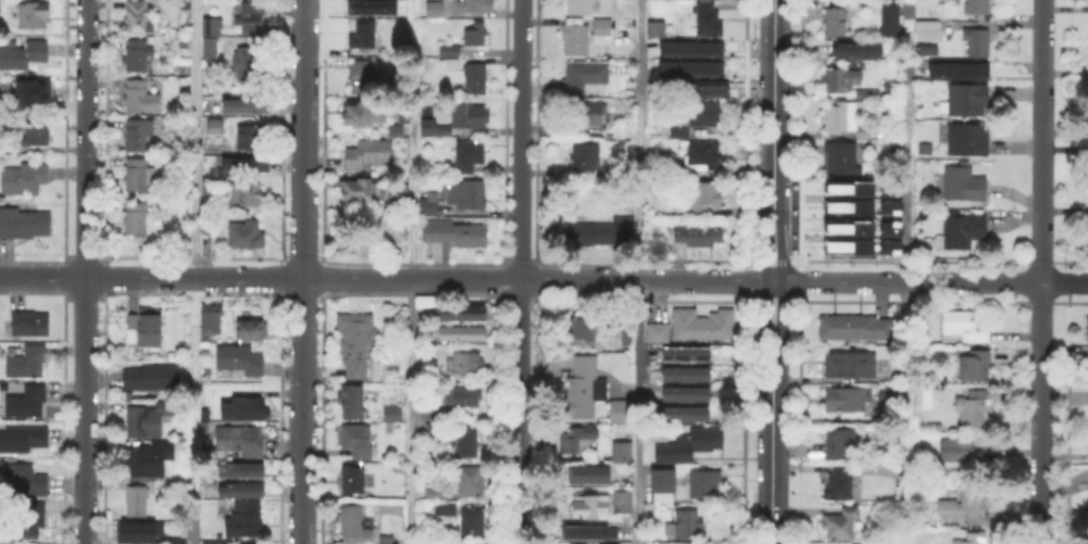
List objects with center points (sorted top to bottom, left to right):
building: (184, 3)
building: (859, 4)
building: (370, 7)
building: (470, 7)
building: (583, 7)
building: (976, 8)
building: (435, 10)
building: (34, 12)
building: (140, 15)
building: (250, 17)
building: (710, 18)
building: (887, 18)
building: (836, 22)
building: (208, 25)
building: (601, 28)
building: (656, 28)
building: (925, 28)
building: (361, 34)
building: (474, 36)
building: (577, 38)
building: (978, 43)
building: (688, 47)
building: (860, 47)
building: (925, 48)
building: (450, 49)
building: (209, 51)
building: (25, 53)
building: (140, 54)
building: (247, 65)
building: (688, 66)
building: (955, 68)
building: (586, 74)
building: (362, 75)
building: (839, 79)
building: (475, 80)
building: (655, 84)
building: (185, 85)
building: (698, 87)
building: (32, 92)
building: (139, 92)
building: (967, 96)
building: (248, 102)
building: (366, 109)
building: (211, 111)
building: (471, 113)
building: (704, 113)
building: (587, 116)
building: (848, 117)
building: (212, 125)
building: (430, 126)
building: (396, 128)
building: (446, 129)
building: (680, 132)
building: (35, 134)
building: (139, 134)
building: (968, 136)
building: (250, 140)
building: (927, 148)
building: (368, 153)
building: (471, 153)
building: (706, 153)
building: (586, 156)
building: (41, 157)
building: (843, 157)
building: (245, 163)
building: (668, 164)
building: (615, 173)
road: (906, 173)
building: (137, 174)
building: (152, 176)
building: (24, 178)
building: (963, 185)
building: (212, 186)
building: (847, 187)
building: (888, 188)
building: (360, 189)
road: (1040, 189)
building: (399, 190)
building: (467, 192)
building: (249, 193)
building: (705, 197)
building: (428, 205)
building: (847, 205)
building: (168, 206)
building: (889, 206)
building: (137, 218)
building: (24, 222)
building: (209, 224)
building: (847, 227)
building: (888, 227)
building: (455, 232)
building: (604, 232)
building: (248, 233)
building: (960, 233)
building: (1087, 236)
building: (692, 239)
building: (847, 245)
building: (888, 245)
road: (85, 271)
road: (195, 271)
road: (300, 271)
road: (413, 271)
road: (521, 271)
road: (638, 271)
road: (771, 271)
road: (543, 278)
building: (463, 312)
building: (208, 318)
building: (699, 322)
building: (27, 324)
building: (590, 326)
building: (1086, 327)
building: (151, 329)
building: (253, 329)
building: (854, 329)
building: (962, 330)
building: (463, 331)
building: (654, 331)
building: (357, 339)
building: (690, 351)
building: (241, 359)
building: (28, 360)
building: (468, 363)
building: (851, 366)
building: (975, 367)
building: (690, 370)
building: (154, 375)
building: (584, 390)
building: (689, 391)
building: (129, 395)
building: (888, 395)
building: (465, 396)
building: (24, 400)
building: (353, 400)
building: (845, 403)
building: (247, 407)
building: (622, 410)
building: (689, 410)
building: (972, 410)
road: (905, 412)
building: (395, 413)
building: (207, 414)
building: (435, 415)
building: (148, 418)
building: (205, 426)
building: (439, 428)
building: (24, 438)
building: (360, 439)
building: (579, 439)
building: (241, 440)
building: (465, 442)
building: (687, 444)
building: (840, 445)
building: (623, 452)
building: (956, 454)
building: (149, 457)
road: (1040, 461)
building: (242, 467)
building: (591, 472)
building: (353, 478)
building: (24, 479)
building: (472, 481)
building: (664, 481)
building: (840, 481)
building: (704, 485)
building: (241, 489)
building: (436, 493)
building: (623, 499)
building: (136, 502)
building: (588, 505)
building: (966, 507)
building: (447, 513)
building: (25, 520)
building: (353, 520)
building: (475, 520)
building: (243, 522)
building: (688, 522)
building: (840, 526)
building: (141, 530)
building: (591, 530)
building: (384, 539)
building: (975, 539)
building: (178, 541)
building: (7, 542)
building: (214, 542)
building: (248, 543)
building: (448, 543)
building: (695, 543)
building: (864, 543)

